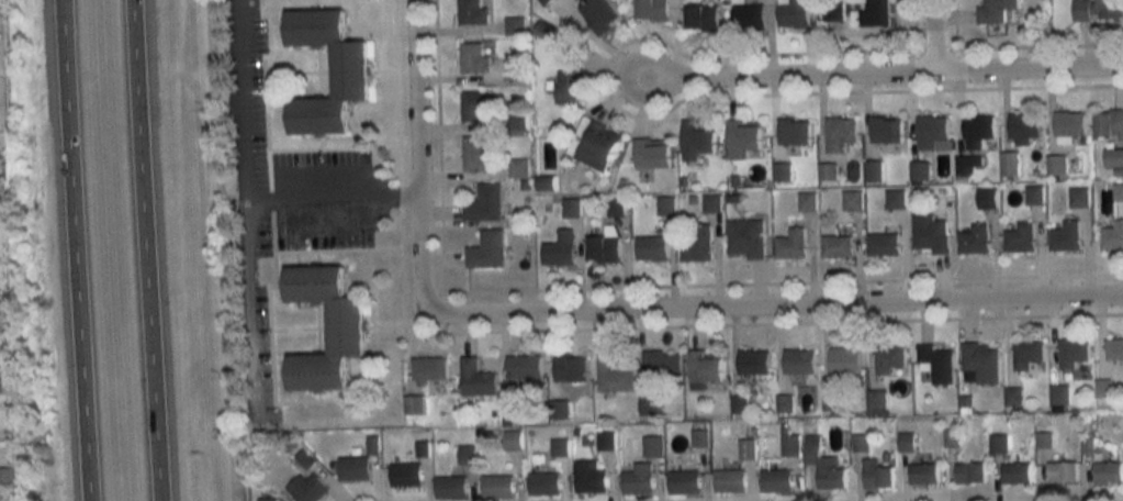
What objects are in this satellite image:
building: (543, 2)
building: (1096, 9)
building: (833, 10)
building: (997, 10)
building: (471, 12)
building: (654, 13)
building: (871, 13)
building: (793, 14)
building: (598, 15)
building: (748, 19)
building: (698, 21)
building: (516, 25)
road: (933, 33)
building: (472, 55)
road: (1029, 64)
building: (350, 70)
building: (515, 70)
road: (789, 71)
building: (569, 85)
building: (472, 104)
building: (1067, 121)
building: (1108, 122)
building: (1022, 126)
building: (884, 129)
building: (794, 130)
building: (931, 131)
building: (978, 131)
building: (839, 132)
building: (744, 137)
building: (696, 141)
building: (596, 146)
building: (651, 152)
building: (472, 154)
road: (416, 155)
building: (1113, 156)
building: (1008, 163)
building: (1057, 165)
building: (518, 166)
building: (827, 169)
building: (784, 171)
building: (873, 171)
building: (920, 171)
building: (1118, 189)
building: (1033, 192)
building: (1077, 194)
building: (987, 196)
road: (330, 199)
building: (482, 199)
building: (895, 199)
building: (807, 200)
building: (851, 200)
building: (710, 203)
building: (614, 204)
building: (661, 205)
building: (572, 208)
road: (244, 210)
building: (1065, 233)
building: (1112, 233)
building: (930, 234)
building: (1019, 236)
building: (745, 238)
building: (974, 238)
building: (696, 241)
building: (789, 242)
building: (881, 243)
building: (836, 245)
building: (486, 246)
building: (600, 247)
building: (650, 247)
building: (561, 248)
road: (76, 250)
road: (146, 250)
road: (772, 301)
building: (346, 326)
building: (1113, 347)
building: (1074, 354)
building: (889, 357)
building: (1027, 357)
building: (750, 360)
building: (844, 360)
building: (939, 360)
building: (658, 361)
building: (798, 361)
building: (981, 363)
building: (523, 366)
building: (430, 368)
building: (701, 368)
building: (615, 374)
building: (475, 377)
building: (571, 377)
building: (0, 386)
building: (1100, 388)
building: (1058, 394)
building: (1010, 398)
building: (877, 399)
building: (831, 401)
building: (415, 402)
building: (739, 403)
building: (786, 405)
building: (560, 409)
building: (699, 438)
building: (510, 439)
building: (603, 439)
building: (861, 442)
building: (905, 442)
building: (789, 443)
building: (372, 444)
building: (998, 444)
building: (651, 446)
building: (1087, 446)
building: (422, 448)
building: (746, 449)
building: (553, 452)
building: (467, 454)
building: (303, 458)
building: (822, 466)
building: (352, 468)
building: (1060, 471)
building: (1107, 471)
building: (1014, 472)
building: (876, 474)
building: (922, 474)
building: (970, 474)
building: (7, 476)
building: (403, 476)
building: (588, 477)
building: (637, 479)
building: (729, 480)
building: (776, 480)
building: (682, 482)
building: (541, 483)
building: (496, 486)
building: (448, 487)
building: (306, 488)
building: (266, 500)

